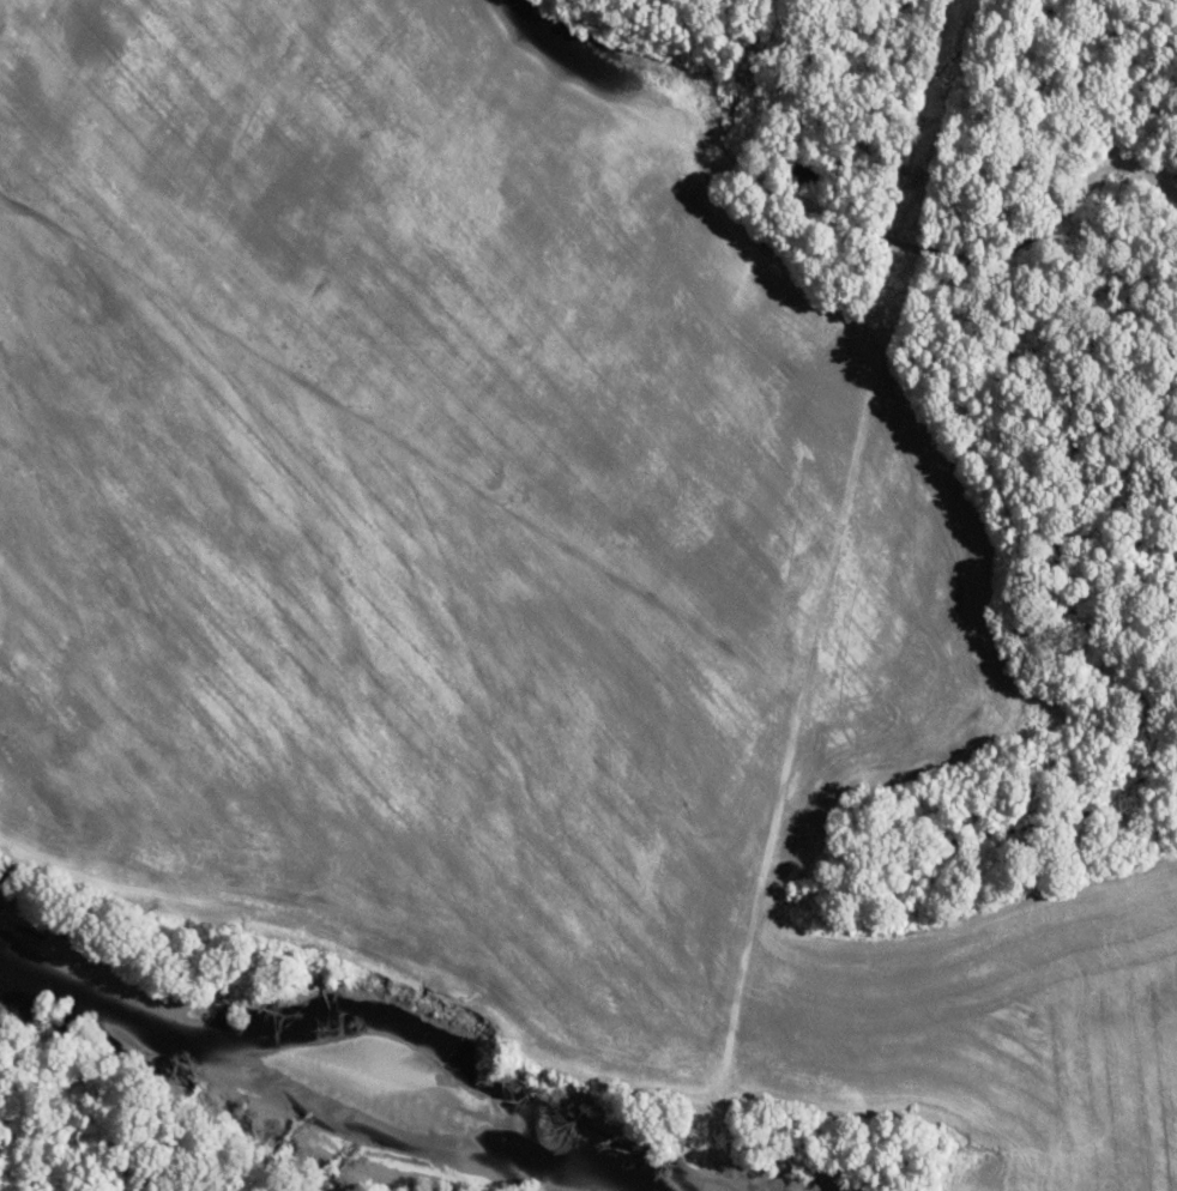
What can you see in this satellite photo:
road: (968, 250)
river: (333, 1064)

